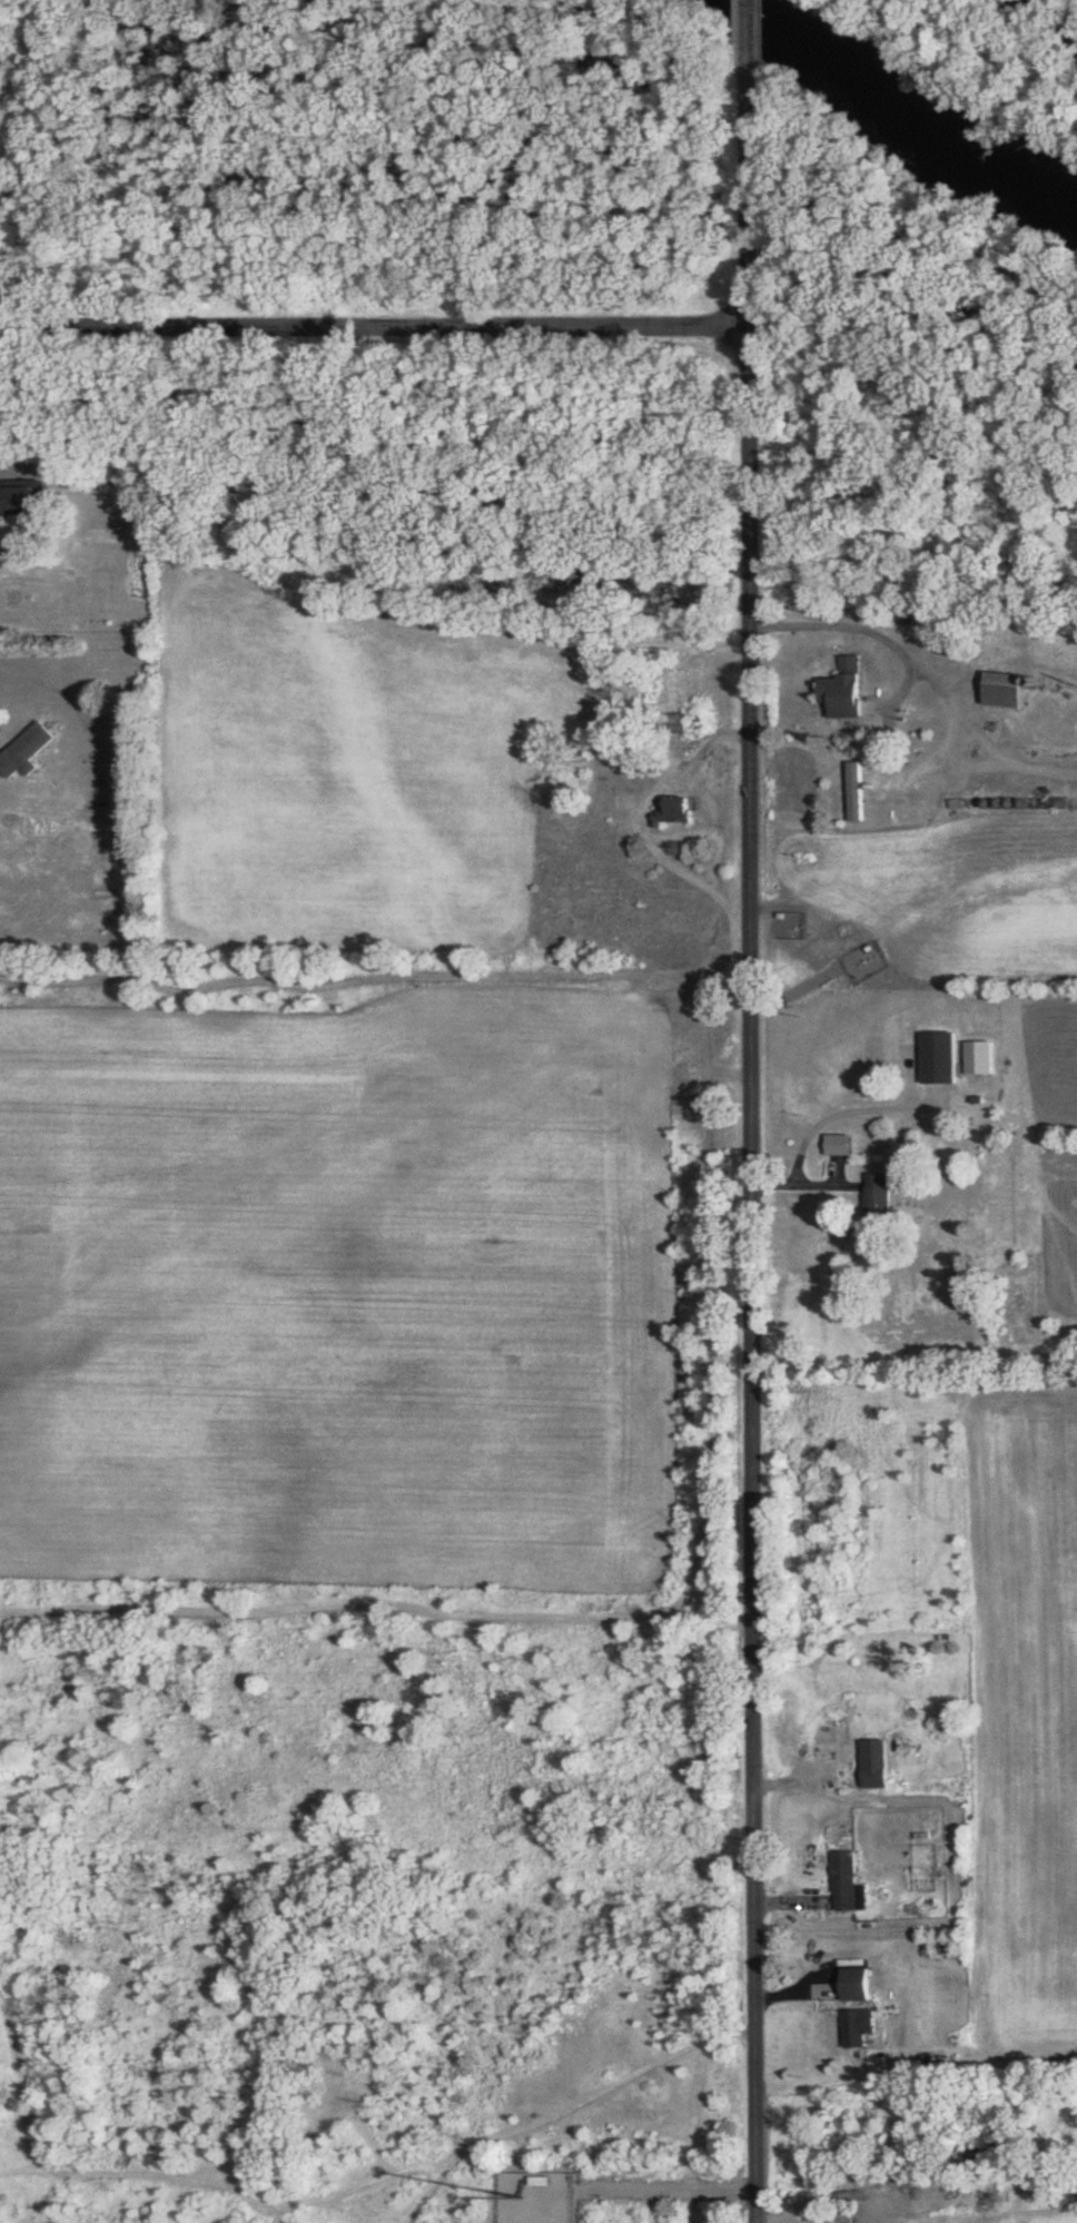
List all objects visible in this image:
road: (752, 38)
river: (906, 111)
road: (376, 330)
building: (19, 498)
building: (902, 616)
road: (868, 628)
road: (47, 685)
building: (841, 688)
building: (1002, 689)
building: (674, 721)
building: (23, 750)
building: (854, 791)
building: (674, 809)
building: (937, 1057)
building: (837, 1144)
road: (751, 1149)
building: (876, 1196)
building: (840, 1736)
building: (872, 1776)
building: (842, 1879)
building: (852, 1983)
building: (857, 2025)
road: (666, 2190)

